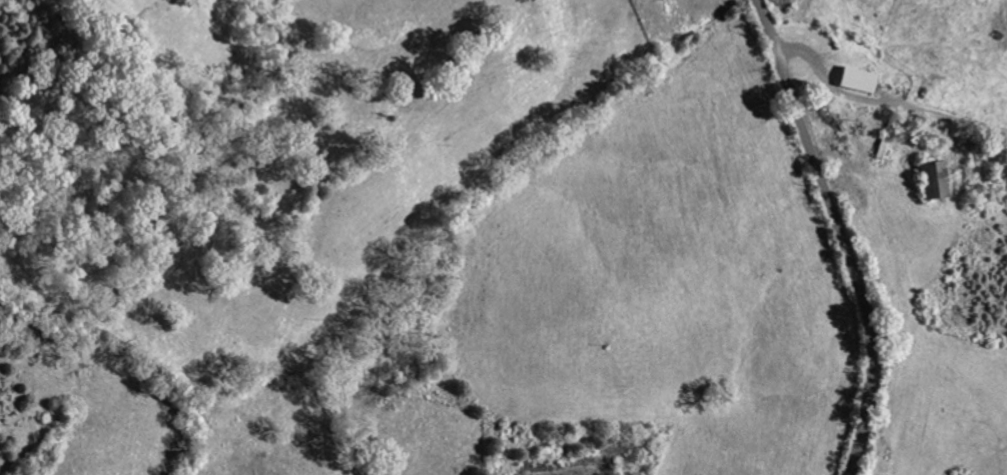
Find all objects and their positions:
building: (906, 62)
road: (883, 102)
building: (984, 162)
road: (842, 233)

